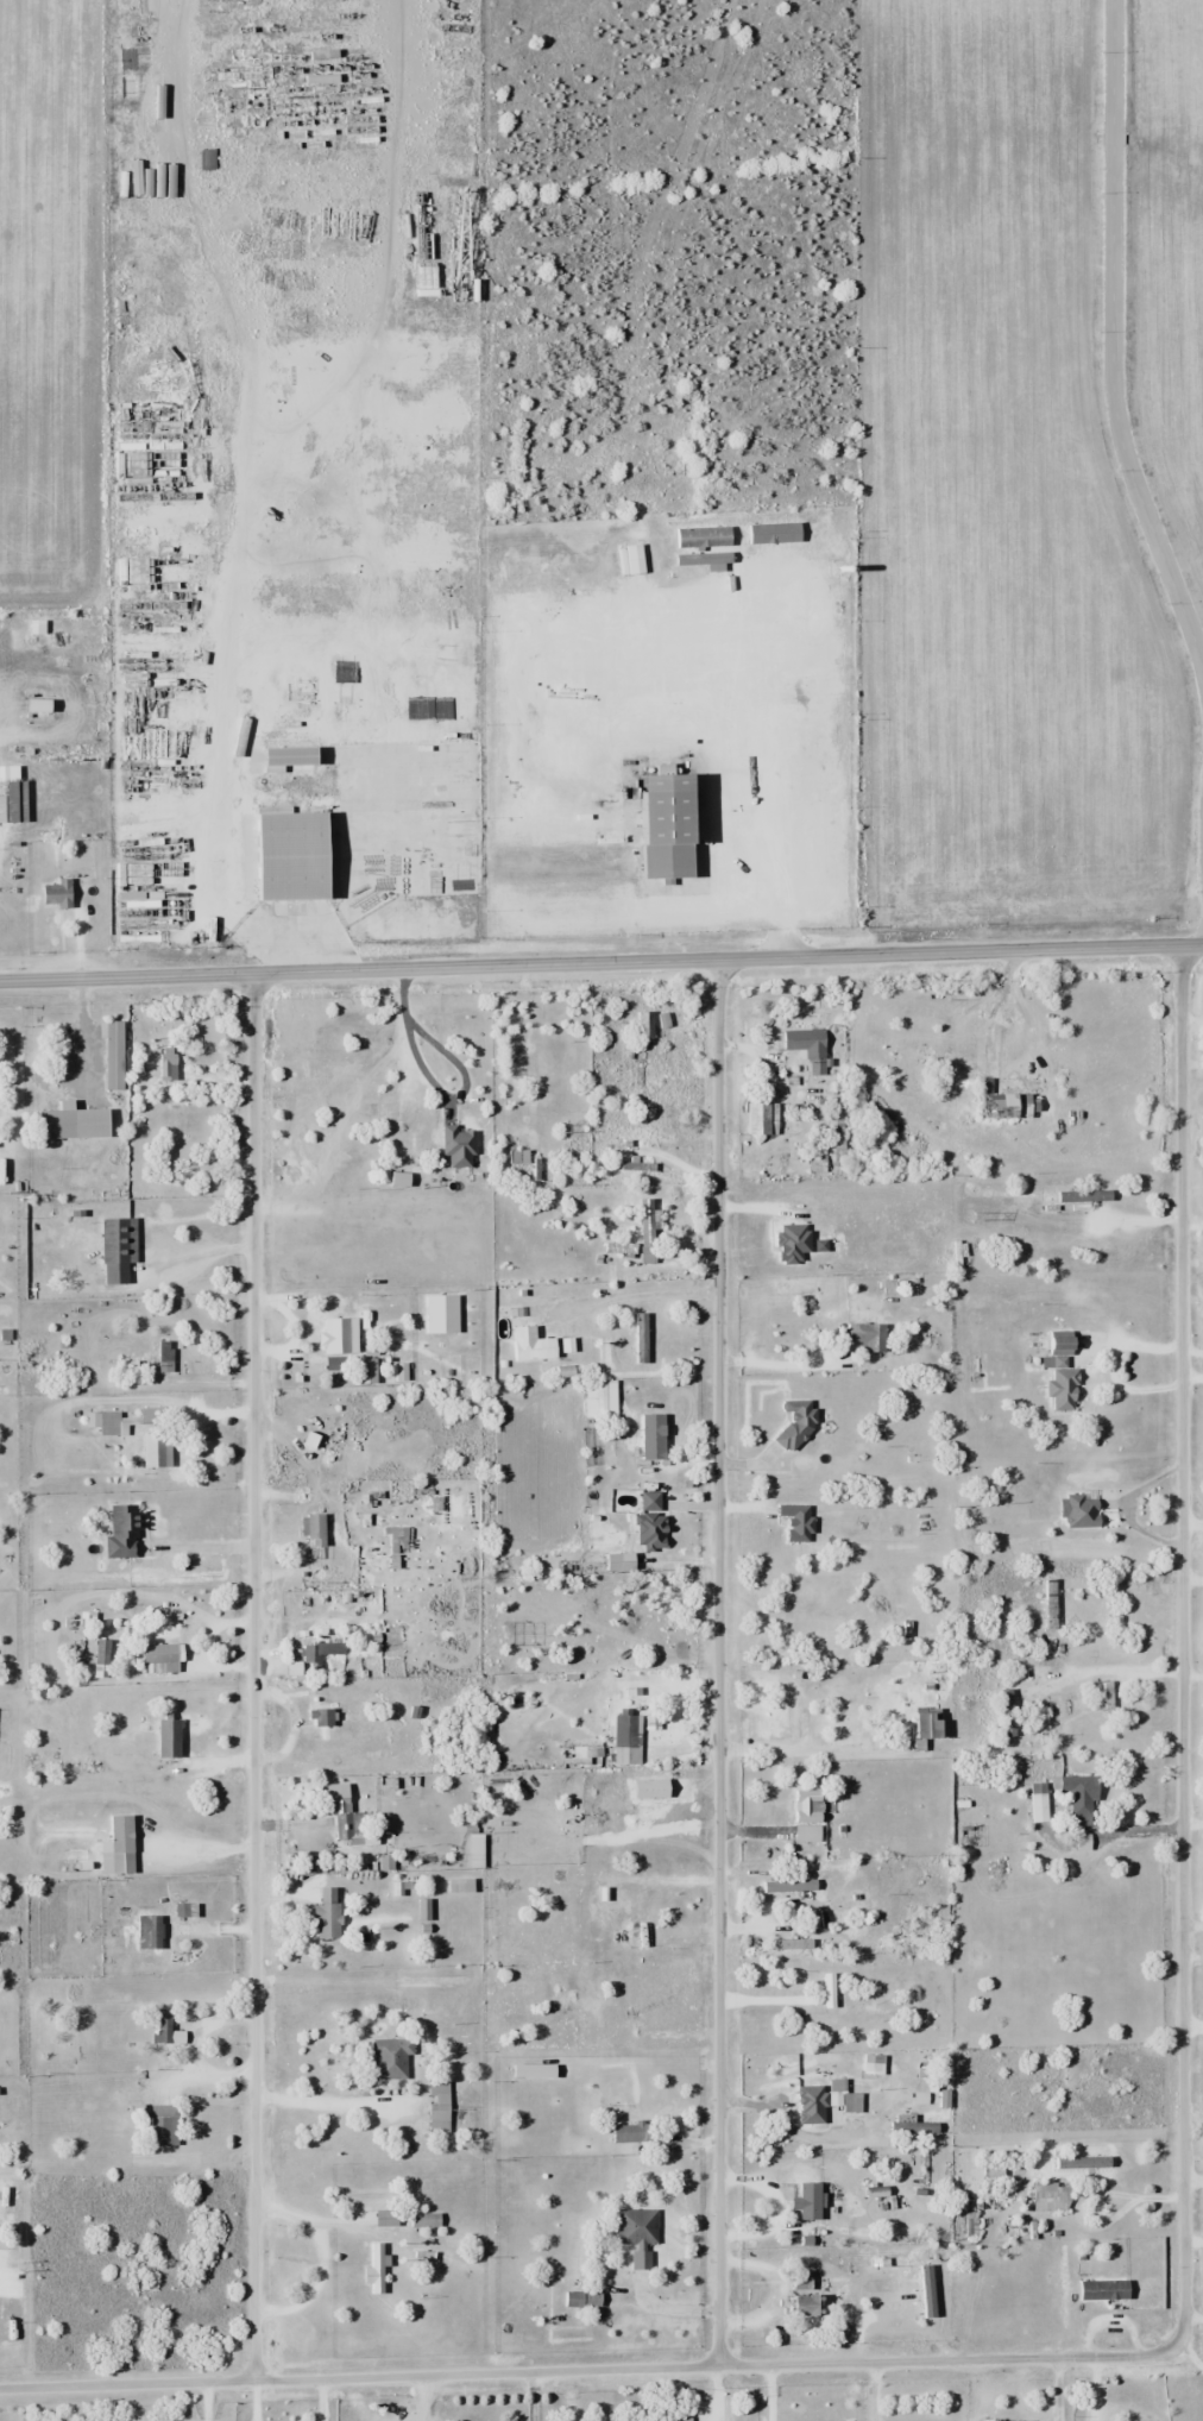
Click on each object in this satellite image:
road: (1111, 340)
building: (294, 756)
road: (777, 765)
building: (13, 796)
building: (298, 855)
building: (58, 894)
road: (692, 905)
road: (601, 962)
building: (647, 1024)
power tower: (157, 1042)
building: (808, 1048)
building: (114, 1054)
building: (169, 1068)
building: (1014, 1107)
building: (764, 1119)
building: (405, 1121)
building: (75, 1124)
power tower: (561, 1128)
building: (458, 1142)
building: (1084, 1196)
power tower: (975, 1216)
building: (648, 1231)
building: (120, 1240)
building: (798, 1289)
building: (341, 1337)
building: (867, 1338)
building: (1062, 1342)
building: (534, 1345)
building: (1064, 1389)
building: (130, 1420)
building: (655, 1436)
building: (158, 1451)
building: (1088, 1508)
building: (314, 1529)
building: (651, 1530)
building: (124, 1533)
building: (402, 1539)
building: (568, 1568)
building: (320, 1571)
road: (1183, 1648)
building: (320, 1652)
building: (164, 1659)
road: (718, 1664)
road: (253, 1678)
building: (1009, 1713)
building: (322, 1718)
building: (930, 1724)
building: (170, 1738)
building: (628, 1742)
building: (584, 1753)
building: (1082, 1794)
building: (1039, 1800)
building: (341, 1811)
building: (810, 1816)
building: (122, 1836)
building: (477, 1851)
building: (75, 1859)
building: (458, 1886)
building: (328, 1914)
building: (642, 1919)
building: (151, 1933)
building: (168, 2030)
building: (392, 2060)
building: (536, 2071)
building: (842, 2106)
building: (440, 2107)
building: (164, 2125)
building: (632, 2132)
building: (1052, 2196)
building: (812, 2200)
building: (388, 2218)
building: (640, 2232)
building: (376, 2268)
building: (575, 2299)
building: (810, 2304)
road: (587, 2372)
building: (682, 2419)

